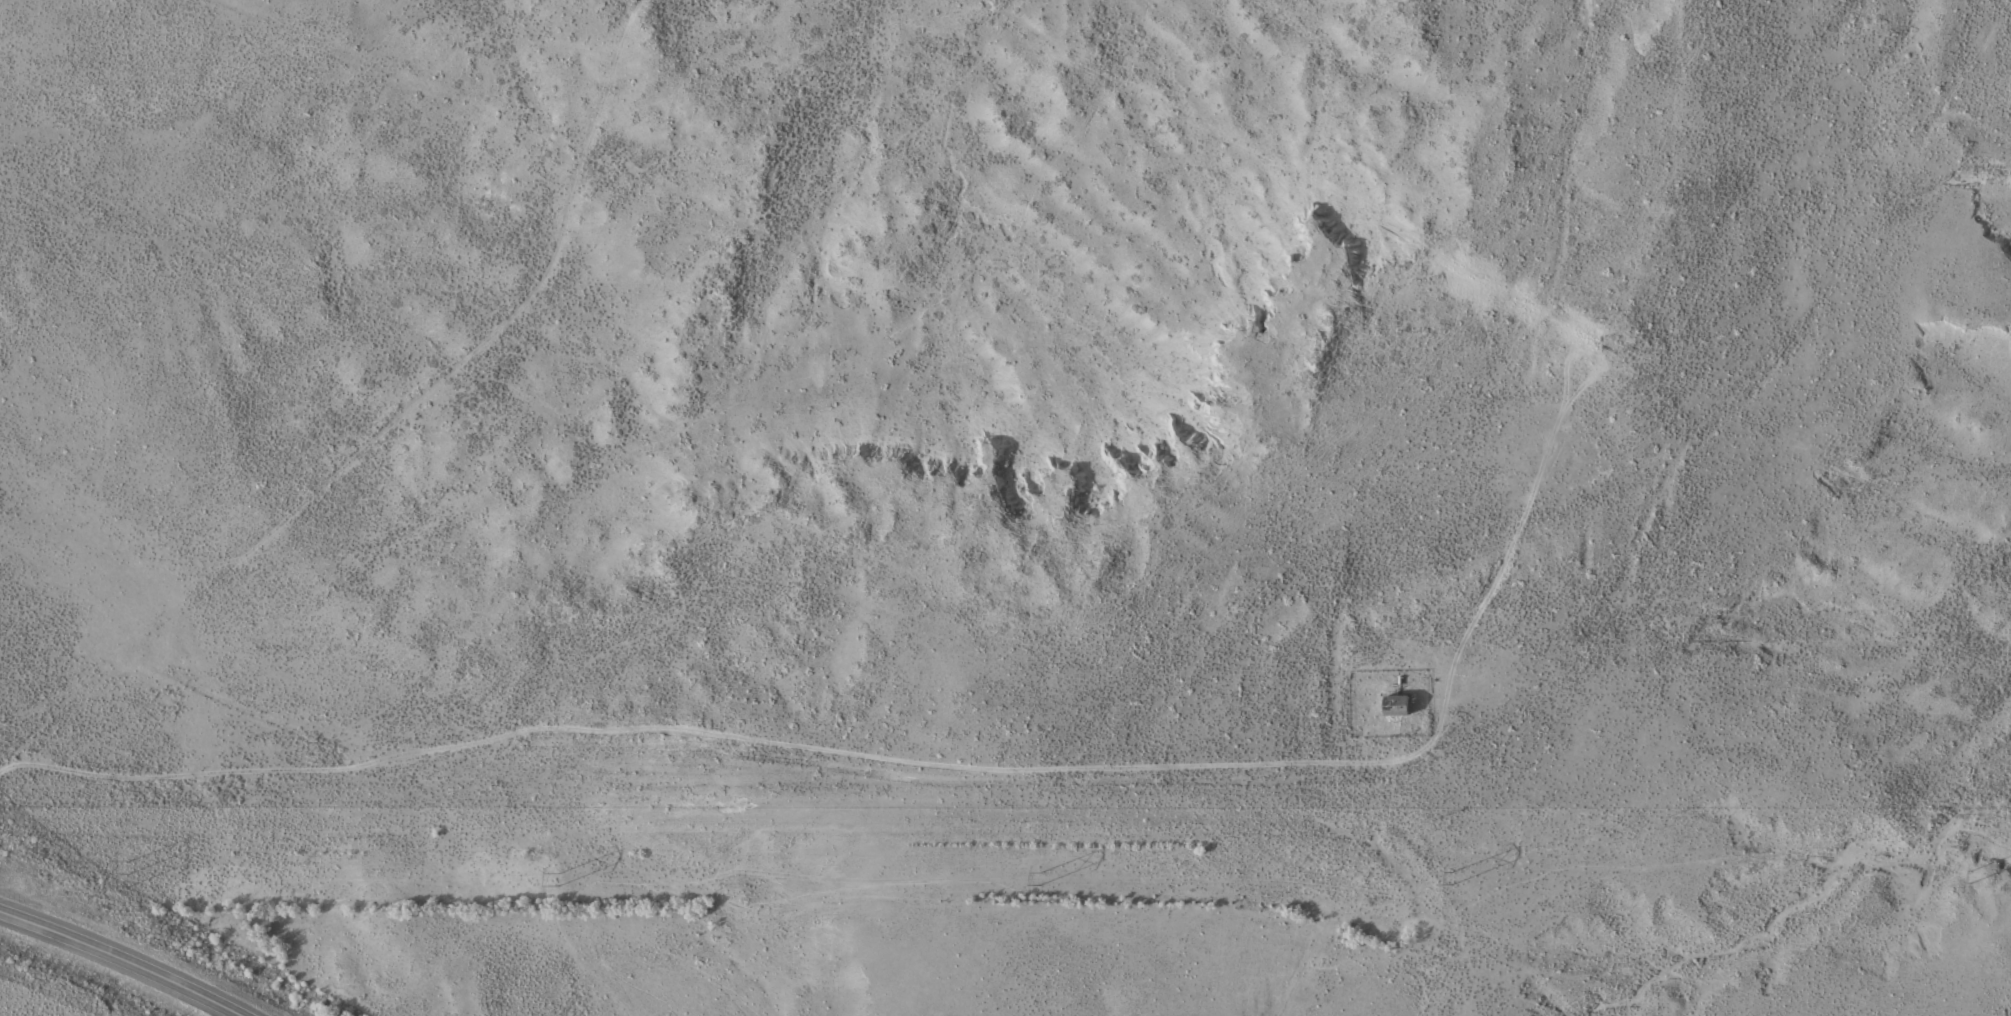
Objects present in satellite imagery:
building: (1402, 704)
road: (913, 754)
power tower: (128, 873)
power tower: (1968, 874)
power tower: (1037, 877)
power tower: (1450, 877)
power tower: (557, 878)
road: (124, 960)

